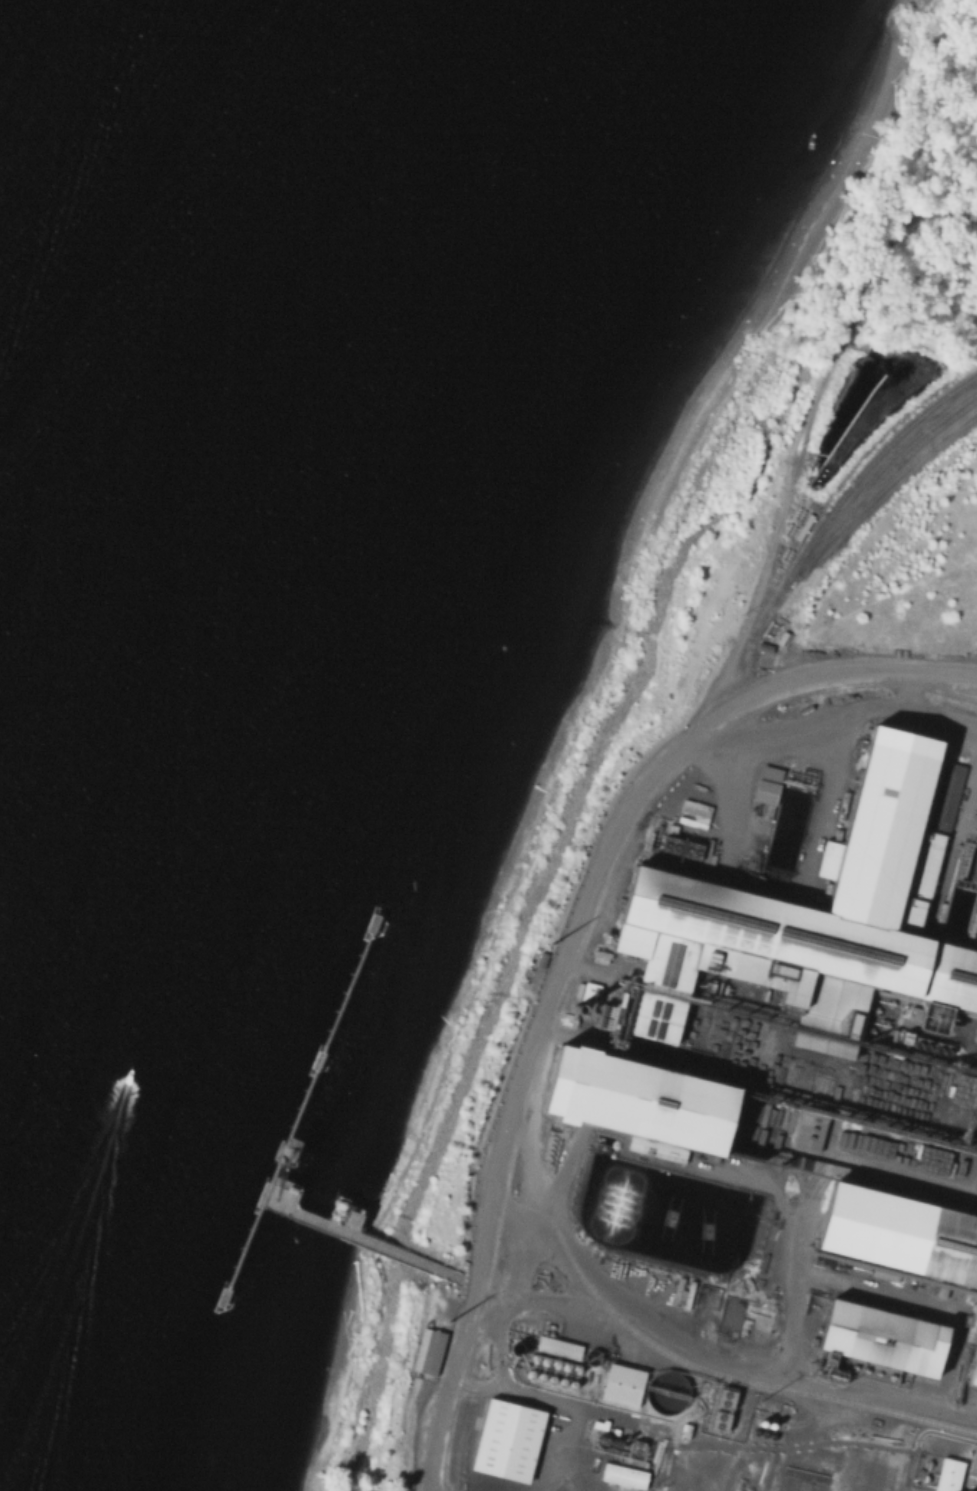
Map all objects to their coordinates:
river: (0, 0)
railway: (884, 484)
railway: (851, 503)
railway: (803, 548)
railway: (942, 696)
railway: (974, 697)
building: (767, 784)
building: (947, 795)
building: (687, 893)
building: (909, 909)
road: (564, 953)
railway: (573, 959)
building: (638, 1102)
pier: (296, 1112)
building: (809, 1131)
road: (527, 1159)
building: (899, 1236)
pier: (360, 1241)
building: (972, 1329)
railway: (635, 1335)
building: (884, 1340)
building: (558, 1346)
building: (427, 1351)
building: (976, 1383)
railway: (469, 1385)
building: (623, 1387)
building: (723, 1397)
road: (952, 1435)
road: (836, 1441)
building: (506, 1444)
building: (974, 1463)
building: (711, 1471)
building: (624, 1476)
building: (949, 1476)

